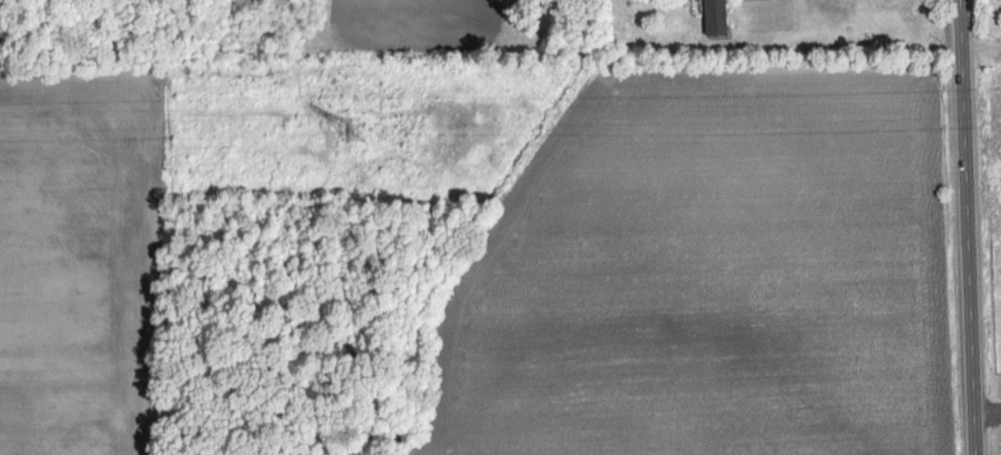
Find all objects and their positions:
road: (980, 49)
power tower: (357, 135)
road: (966, 227)
crop: (78, 261)
crop: (709, 276)
road: (987, 412)

